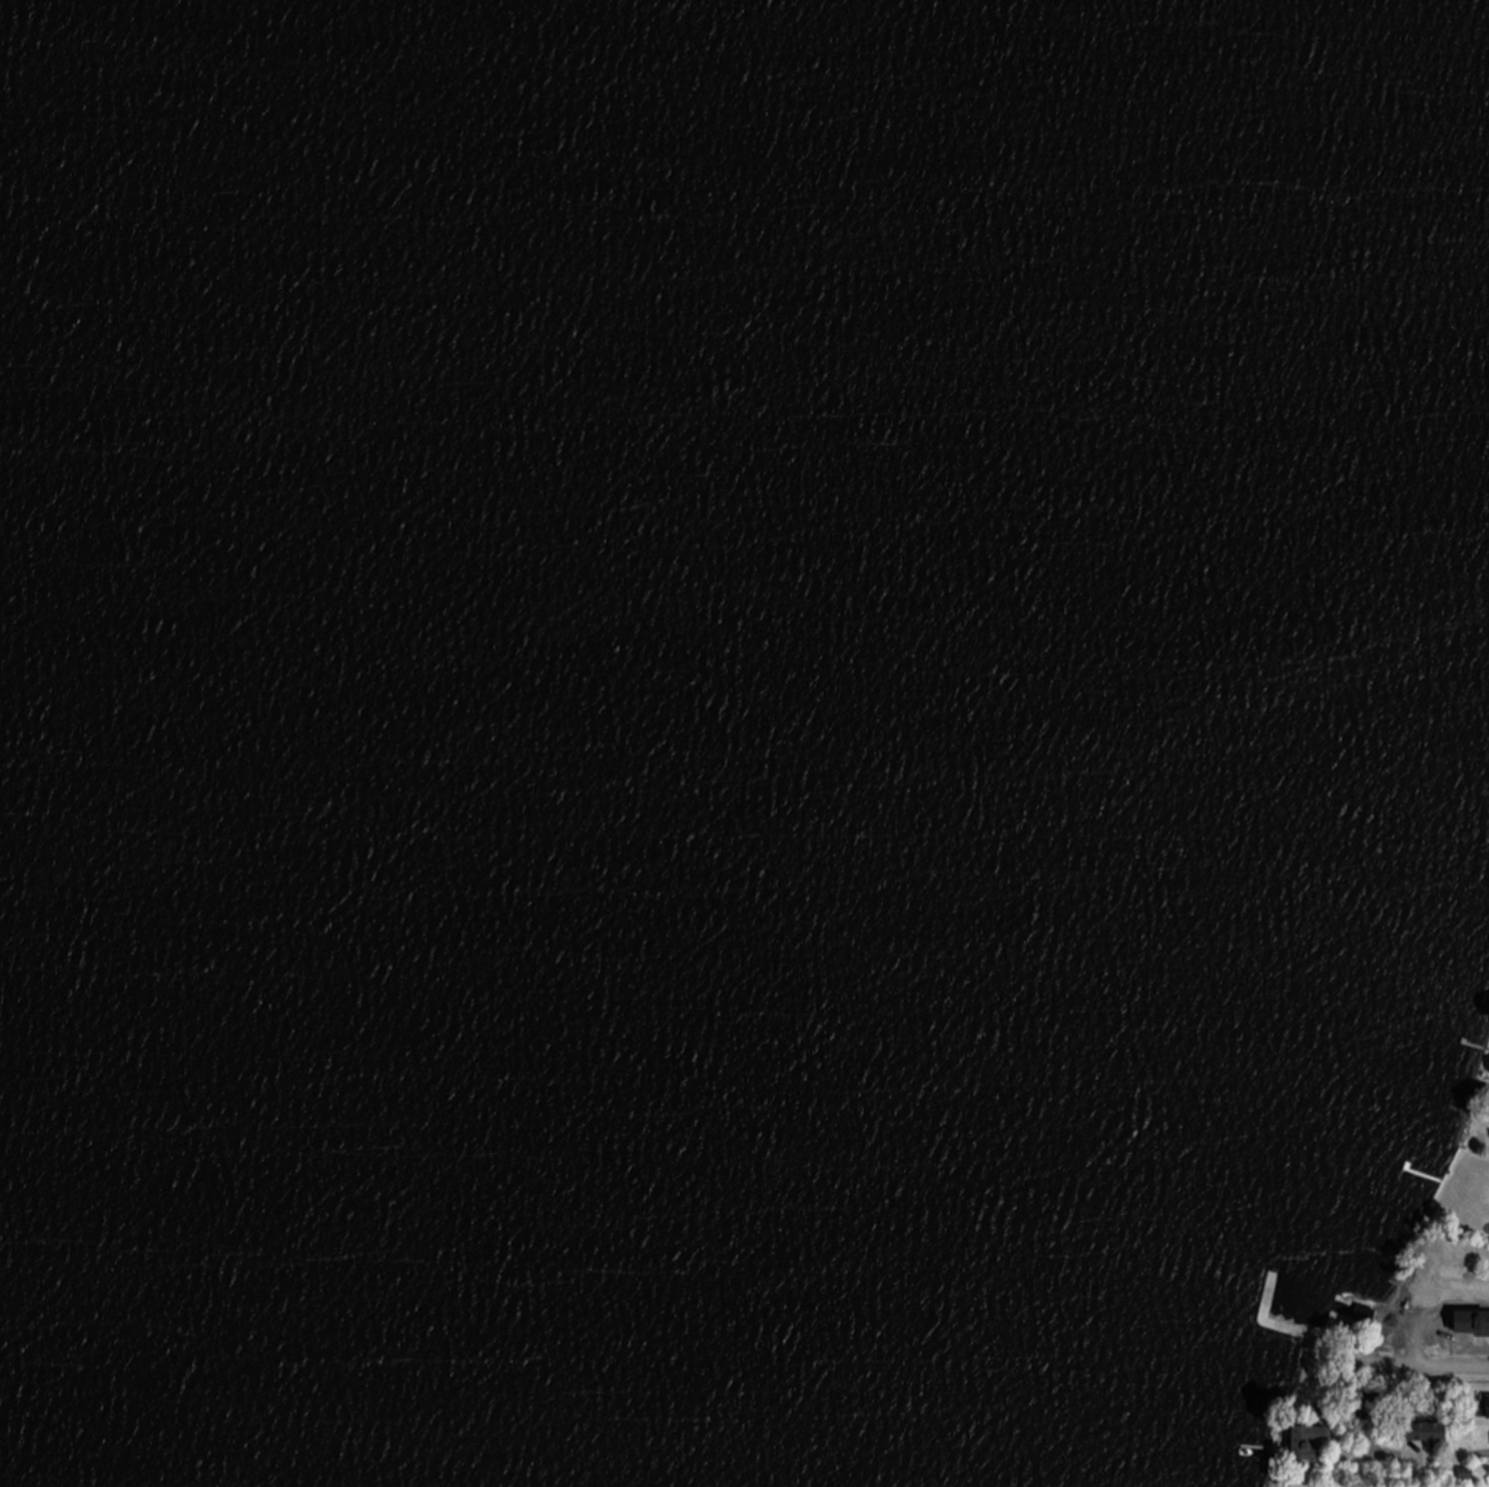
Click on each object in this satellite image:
building: (1366, 1316)
building: (1420, 1321)
building: (1476, 1324)
road: (1427, 1365)
building: (1372, 1409)
building: (1488, 1409)
building: (1424, 1415)
building: (1424, 1434)
building: (1309, 1442)
road: (1432, 1458)
building: (1466, 1476)

